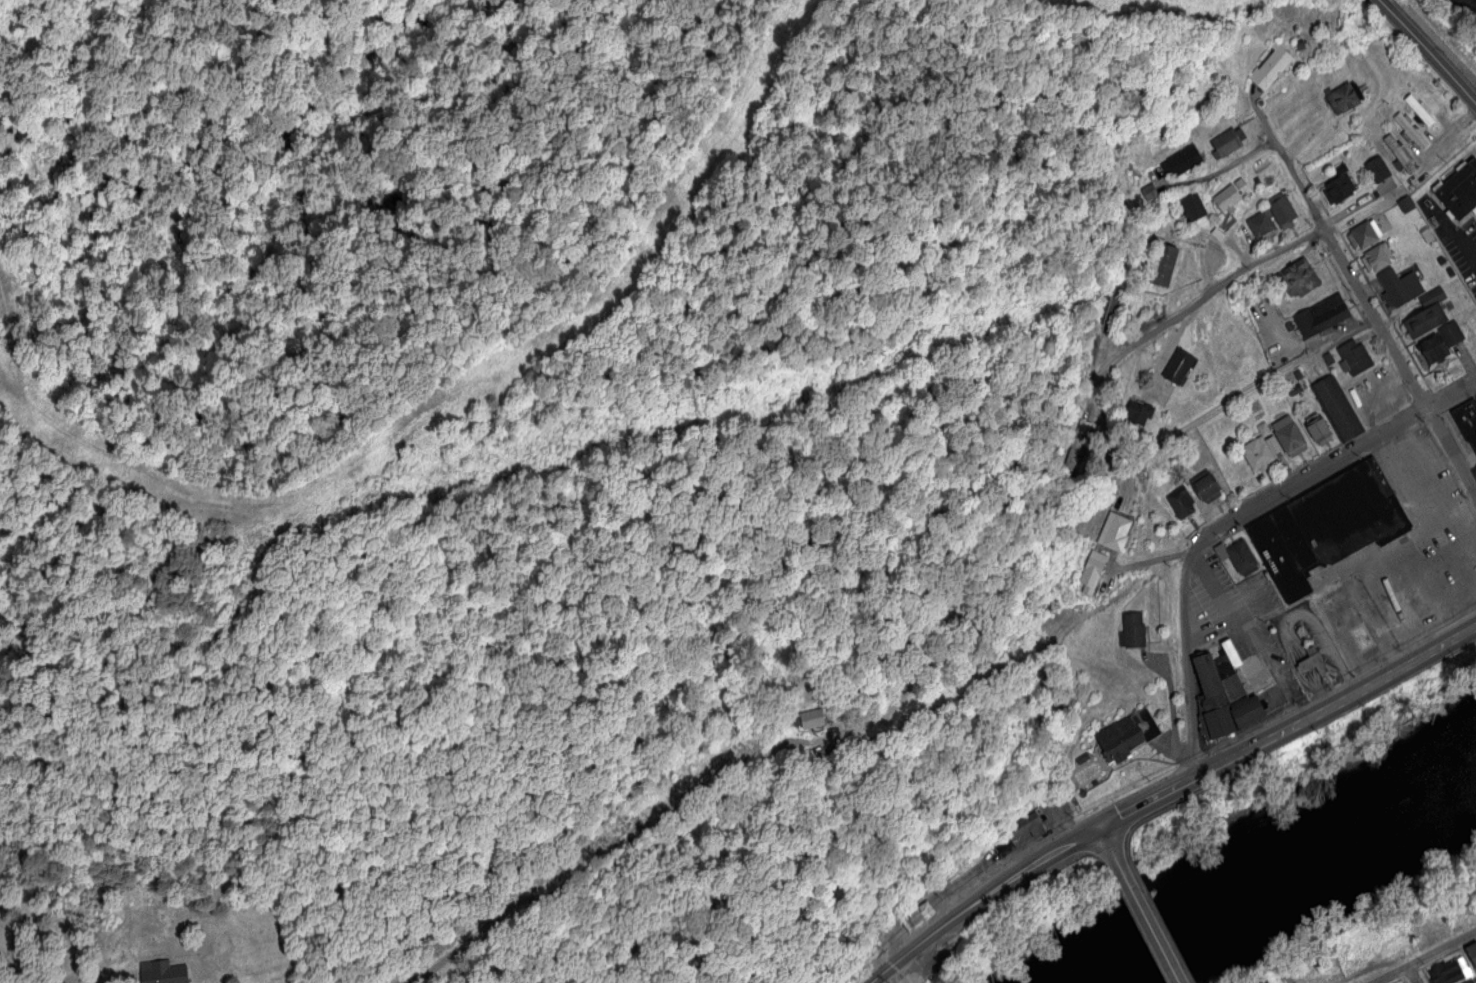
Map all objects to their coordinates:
road: (1394, 16)
building: (1270, 68)
road: (1442, 69)
building: (1431, 95)
building: (1343, 100)
building: (1418, 111)
building: (1409, 131)
road: (1448, 139)
building: (1227, 143)
building: (1398, 154)
building: (1185, 160)
building: (1377, 170)
building: (1239, 184)
building: (1459, 189)
building: (1338, 190)
building: (1148, 191)
building: (1226, 199)
building: (1406, 205)
building: (1193, 208)
building: (1474, 210)
building: (1282, 212)
building: (1260, 224)
road: (1455, 234)
building: (1364, 235)
building: (1427, 236)
road: (1334, 258)
building: (1378, 258)
building: (1440, 260)
building: (1162, 266)
building: (1449, 272)
building: (1300, 279)
building: (1399, 287)
building: (1432, 297)
road: (1192, 308)
building: (1112, 314)
building: (1322, 316)
building: (1424, 321)
building: (1441, 341)
building: (1355, 358)
building: (1179, 366)
road: (1233, 399)
building: (1336, 409)
building: (1138, 411)
building: (1467, 421)
building: (1318, 428)
building: (1288, 436)
building: (1272, 444)
building: (1257, 454)
road: (1449, 456)
road: (1336, 457)
building: (1206, 485)
building: (1181, 500)
building: (1328, 524)
building: (1115, 531)
building: (1238, 555)
building: (1091, 570)
building: (1132, 630)
road: (1184, 655)
building: (1231, 655)
building: (1316, 662)
building: (1213, 701)
road: (1336, 702)
building: (1248, 711)
building: (812, 717)
building: (1127, 736)
road: (815, 773)
road: (1148, 801)
building: (1014, 834)
road: (1105, 835)
river: (1274, 875)
road: (983, 899)
road: (1145, 914)
building: (915, 919)
building: (1428, 936)
building: (1472, 951)
road: (1429, 959)
building: (1451, 971)
building: (162, 972)
road: (1410, 977)
building: (1469, 981)

